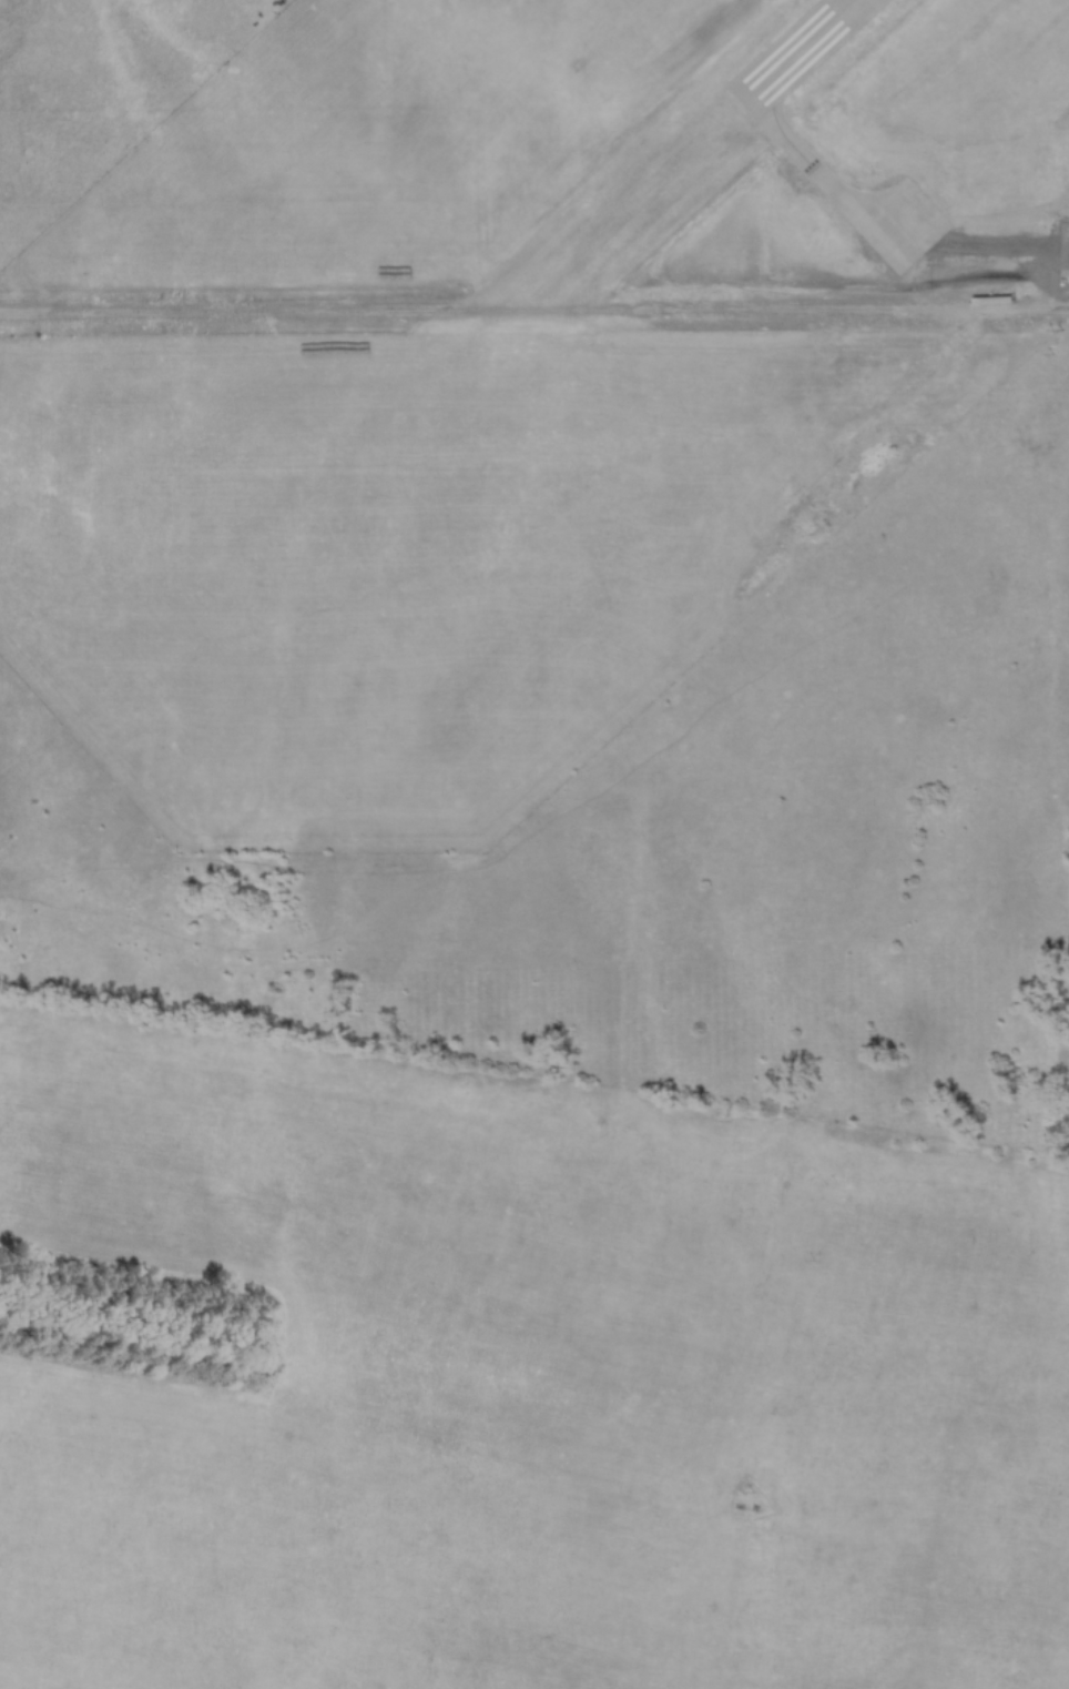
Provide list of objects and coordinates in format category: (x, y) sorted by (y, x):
airport runway: (801, 53)
airport: (838, 155)
airport taxiway: (829, 178)
road: (534, 310)

